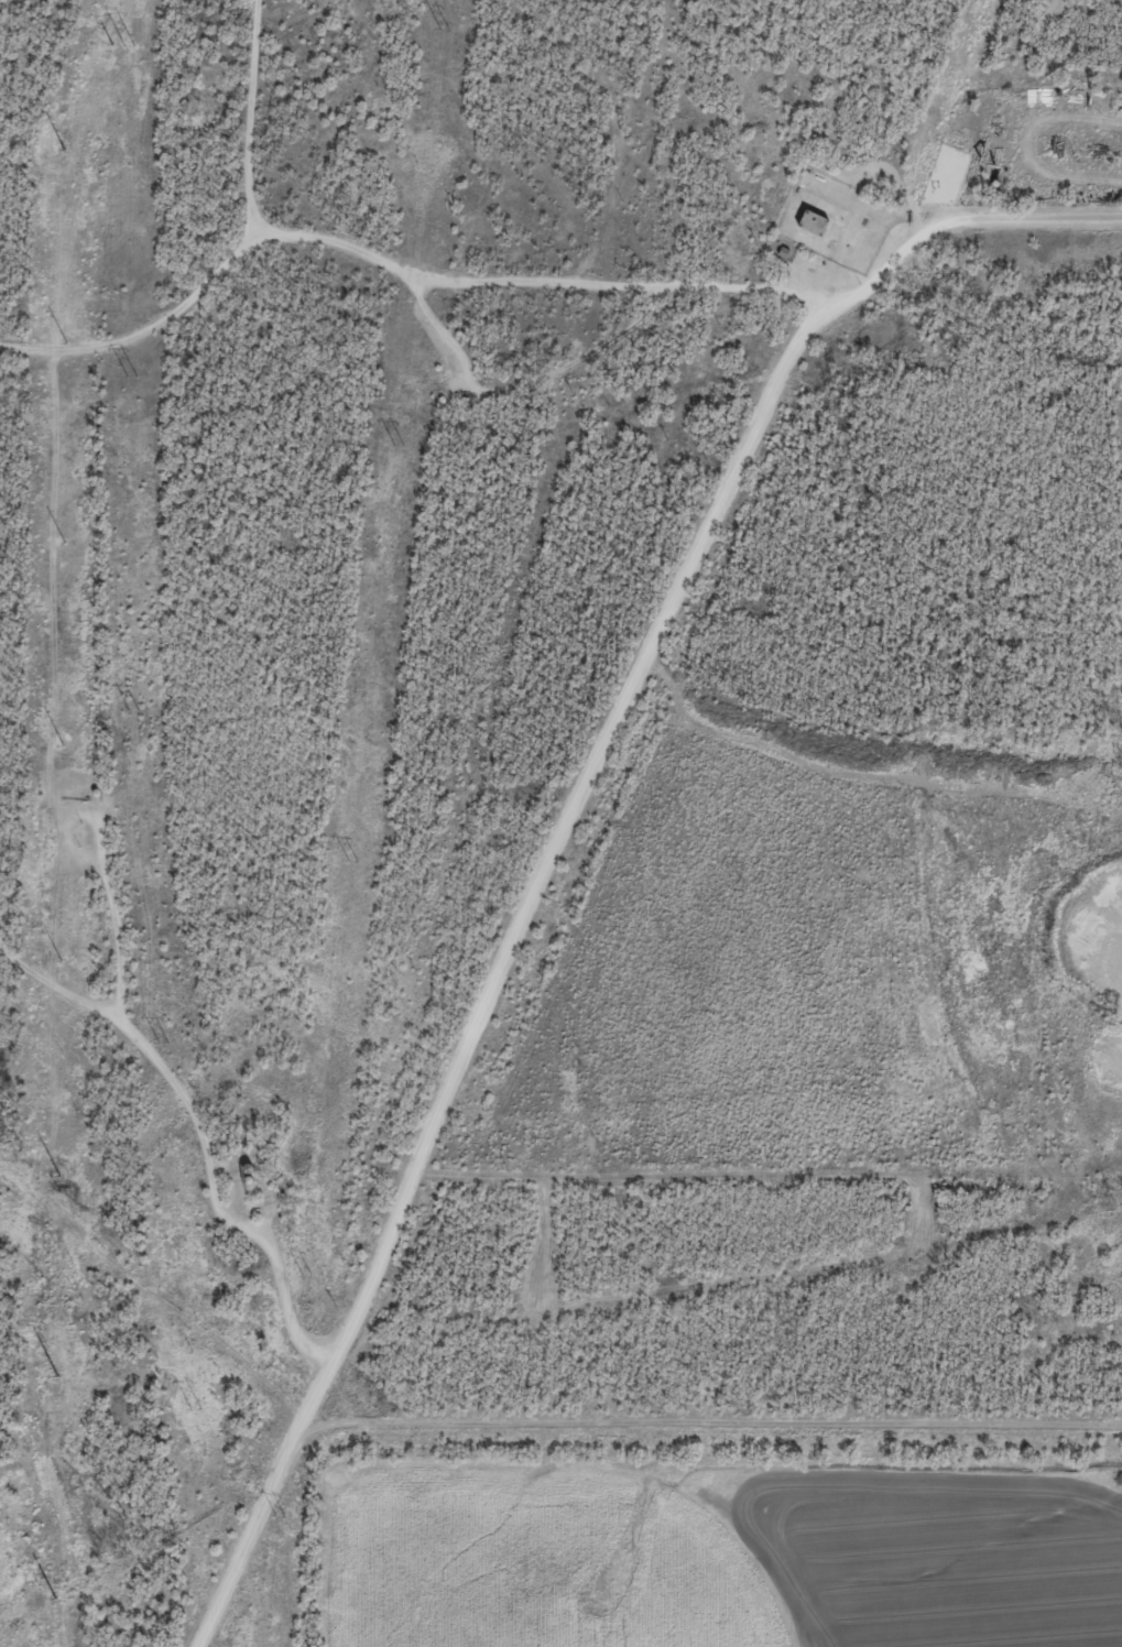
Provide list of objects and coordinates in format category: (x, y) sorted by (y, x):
power tower: (442, 30)
power tower: (128, 43)
building: (813, 222)
road: (237, 261)
power tower: (130, 377)
power tower: (396, 445)
power tower: (131, 712)
power tower: (350, 861)
power tower: (162, 1044)
road: (207, 1134)
power tower: (305, 1276)
road: (320, 1407)
power tower: (194, 1409)
power tower: (279, 1517)

